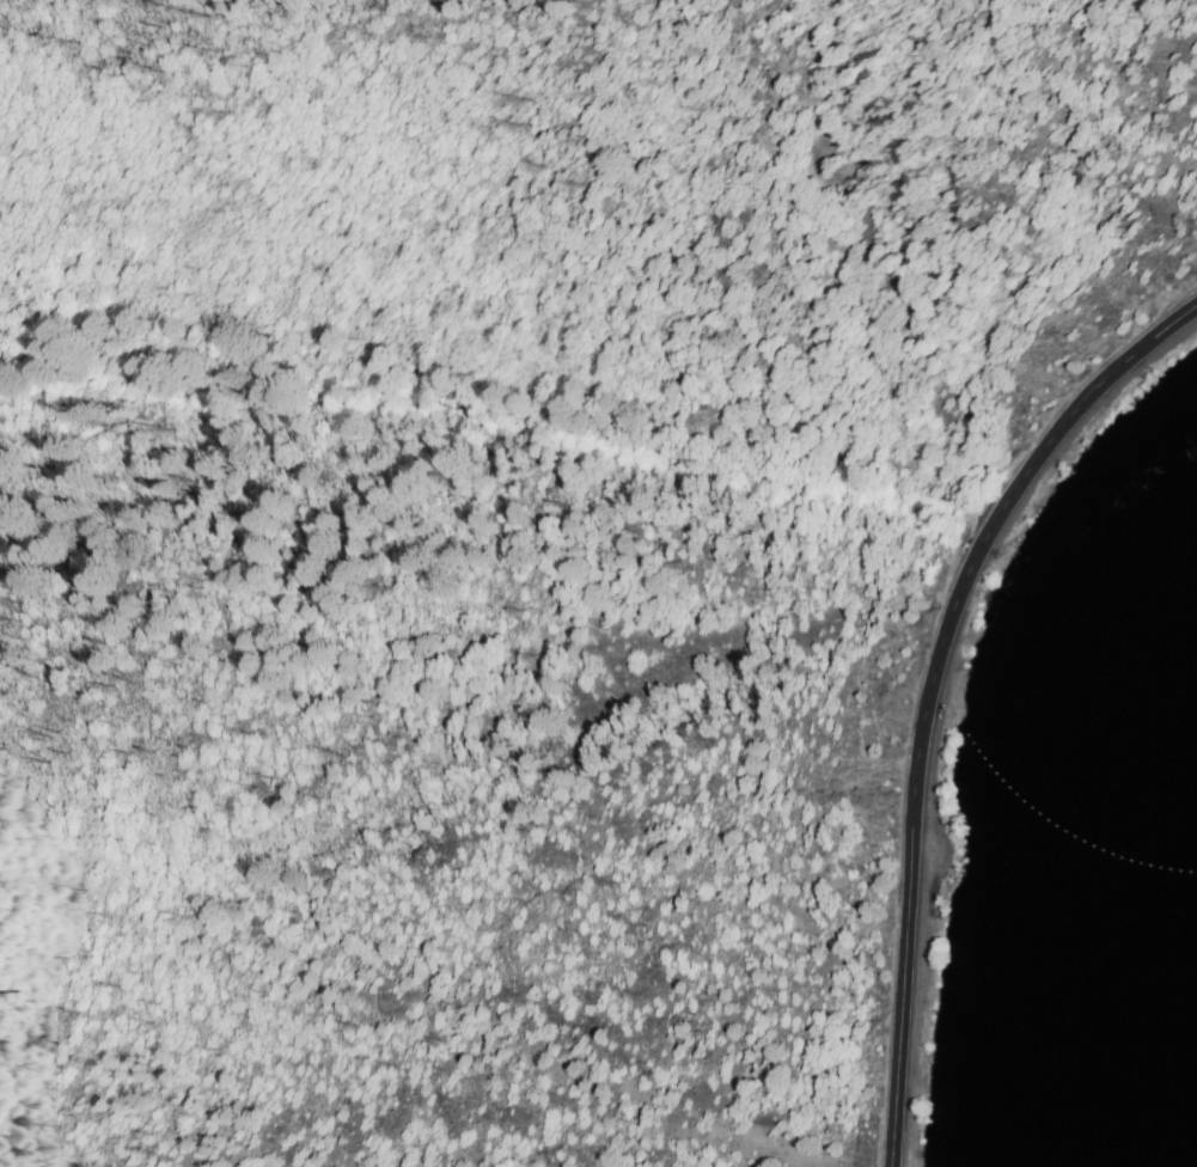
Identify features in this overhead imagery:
road: (929, 689)
river: (1185, 695)
river: (1138, 909)
river: (1104, 1137)

